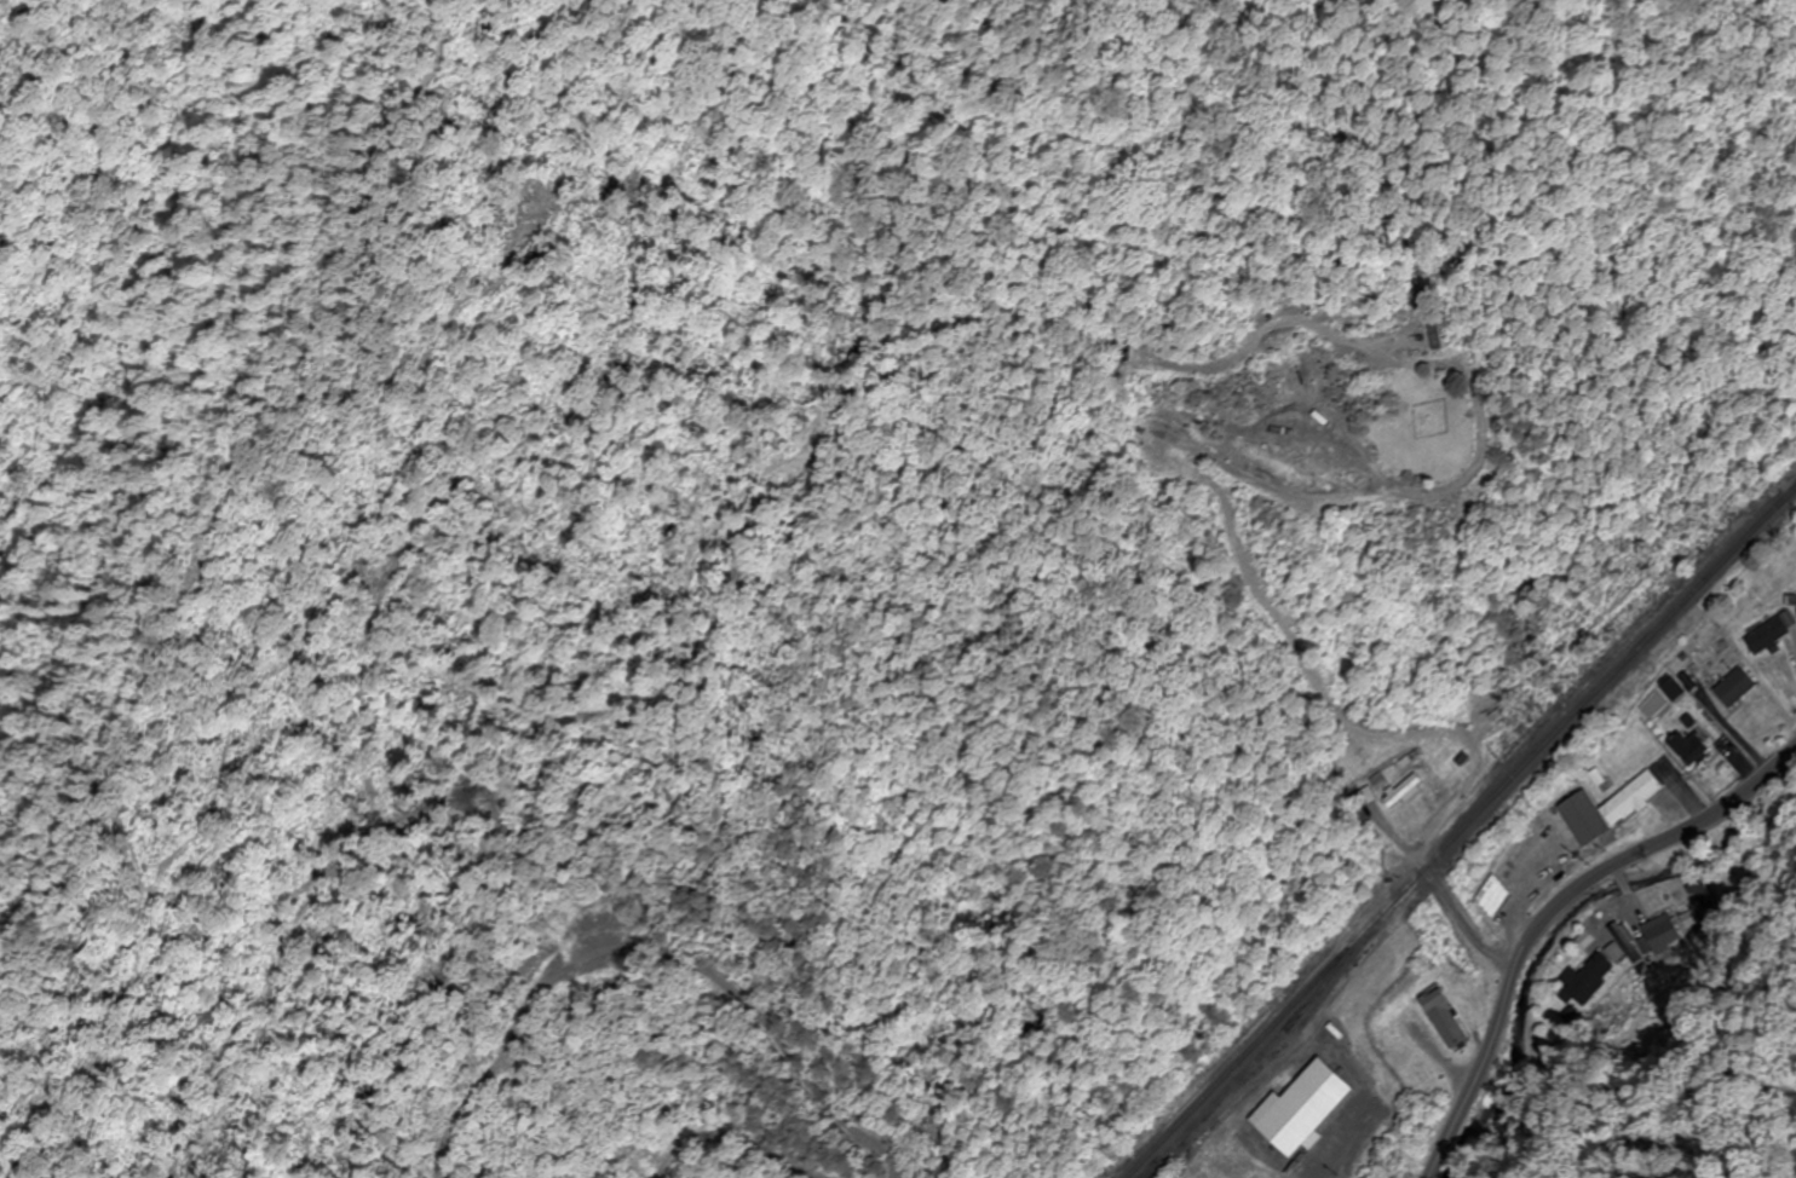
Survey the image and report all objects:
building: (1768, 636)
road: (1723, 688)
building: (1737, 688)
building: (1692, 750)
building: (1408, 792)
building: (1611, 809)
railway: (1461, 835)
road: (1548, 907)
building: (1660, 935)
building: (1625, 945)
building: (1583, 980)
building: (1449, 1020)
railway: (1251, 1063)

